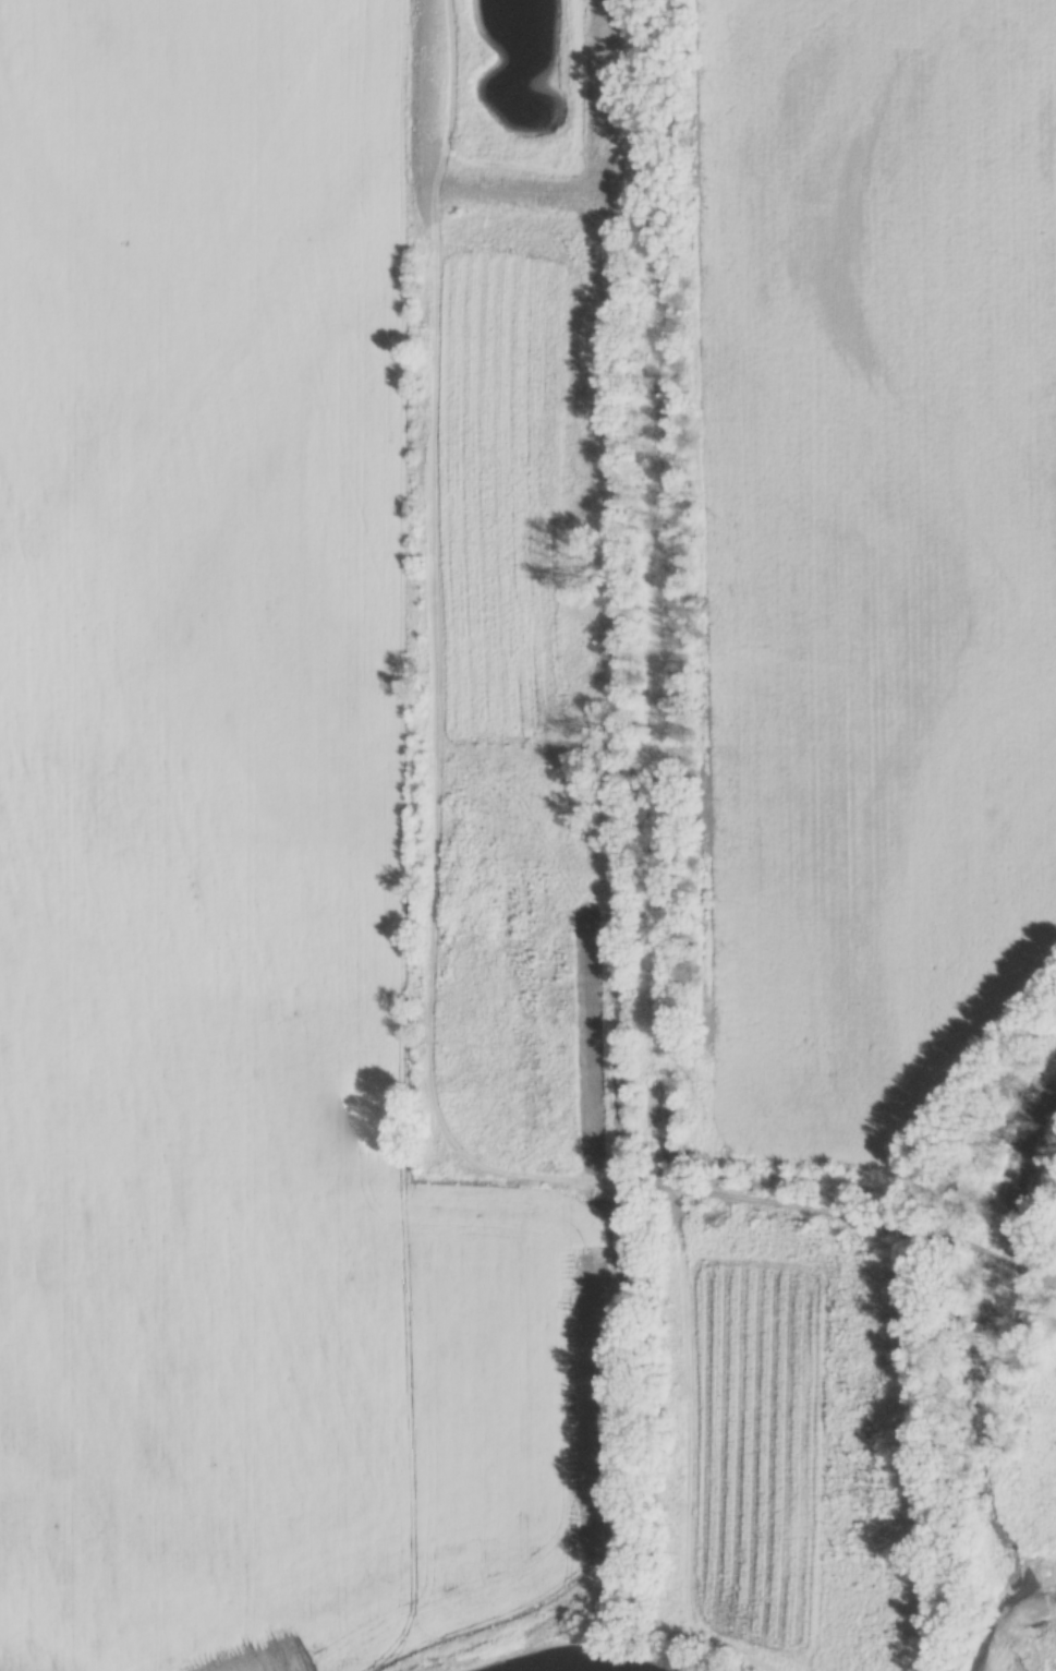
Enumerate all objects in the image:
river: (1051, 1666)

